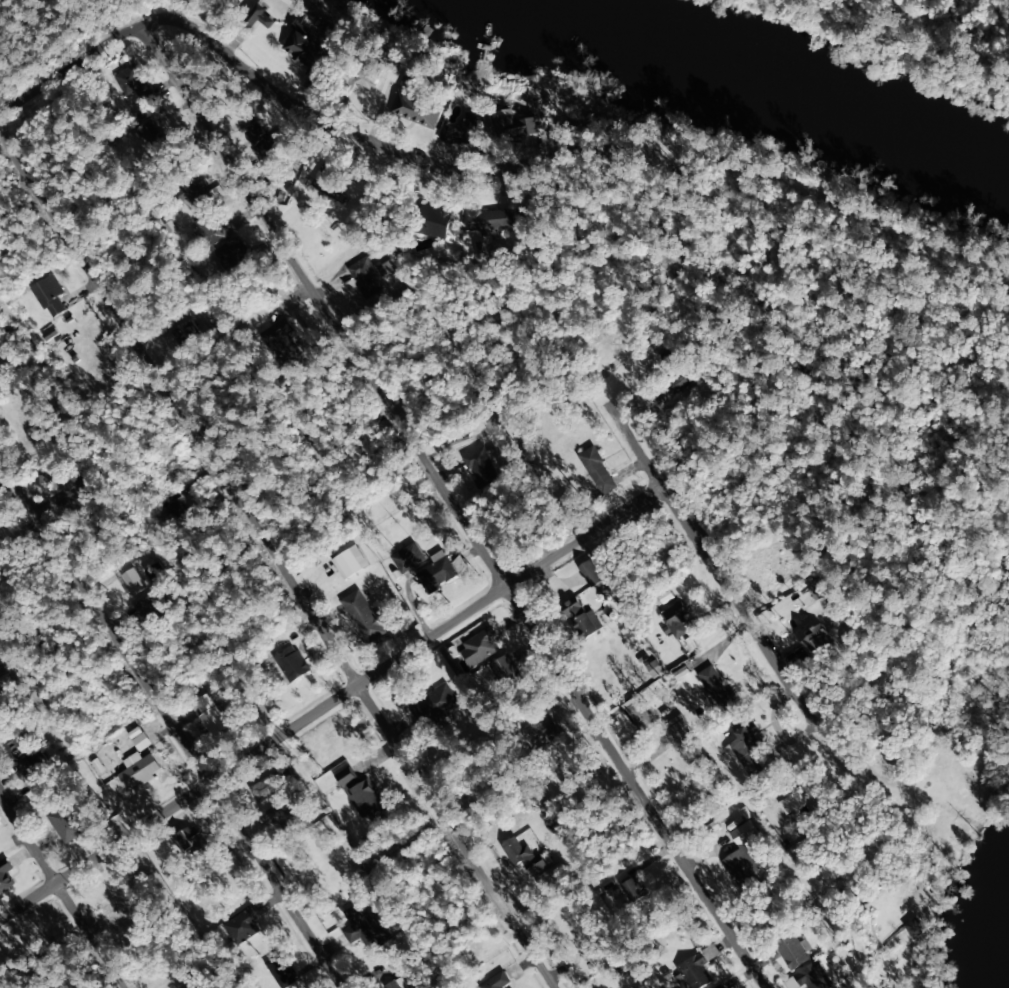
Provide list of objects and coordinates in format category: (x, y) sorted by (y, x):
building: (258, 15)
building: (310, 45)
road: (70, 69)
river: (777, 73)
building: (368, 79)
building: (129, 80)
building: (146, 97)
building: (417, 110)
road: (329, 120)
building: (514, 125)
building: (461, 132)
building: (150, 133)
building: (261, 141)
building: (325, 179)
building: (195, 199)
building: (436, 220)
building: (490, 221)
building: (214, 229)
building: (235, 255)
building: (370, 276)
building: (50, 296)
building: (187, 334)
building: (280, 338)
building: (29, 421)
building: (482, 465)
building: (597, 470)
building: (77, 486)
road: (455, 505)
building: (408, 558)
road: (276, 559)
building: (350, 562)
building: (762, 570)
building: (437, 572)
building: (154, 573)
building: (590, 573)
building: (132, 582)
building: (814, 589)
building: (149, 611)
building: (364, 617)
building: (582, 619)
building: (675, 620)
building: (817, 640)
building: (480, 646)
building: (292, 663)
building: (506, 673)
road: (372, 677)
road: (783, 677)
building: (717, 688)
building: (433, 705)
building: (637, 713)
building: (210, 714)
road: (172, 722)
building: (540, 731)
building: (679, 731)
building: (139, 739)
building: (26, 748)
building: (744, 750)
building: (139, 770)
building: (273, 782)
building: (363, 795)
building: (790, 802)
building: (283, 815)
building: (65, 822)
building: (742, 857)
building: (530, 860)
building: (828, 872)
building: (6, 877)
building: (633, 888)
road: (62, 891)
building: (242, 925)
building: (363, 927)
building: (914, 927)
building: (794, 952)
building: (279, 971)
building: (695, 972)
building: (817, 975)
building: (498, 981)
building: (199, 987)

